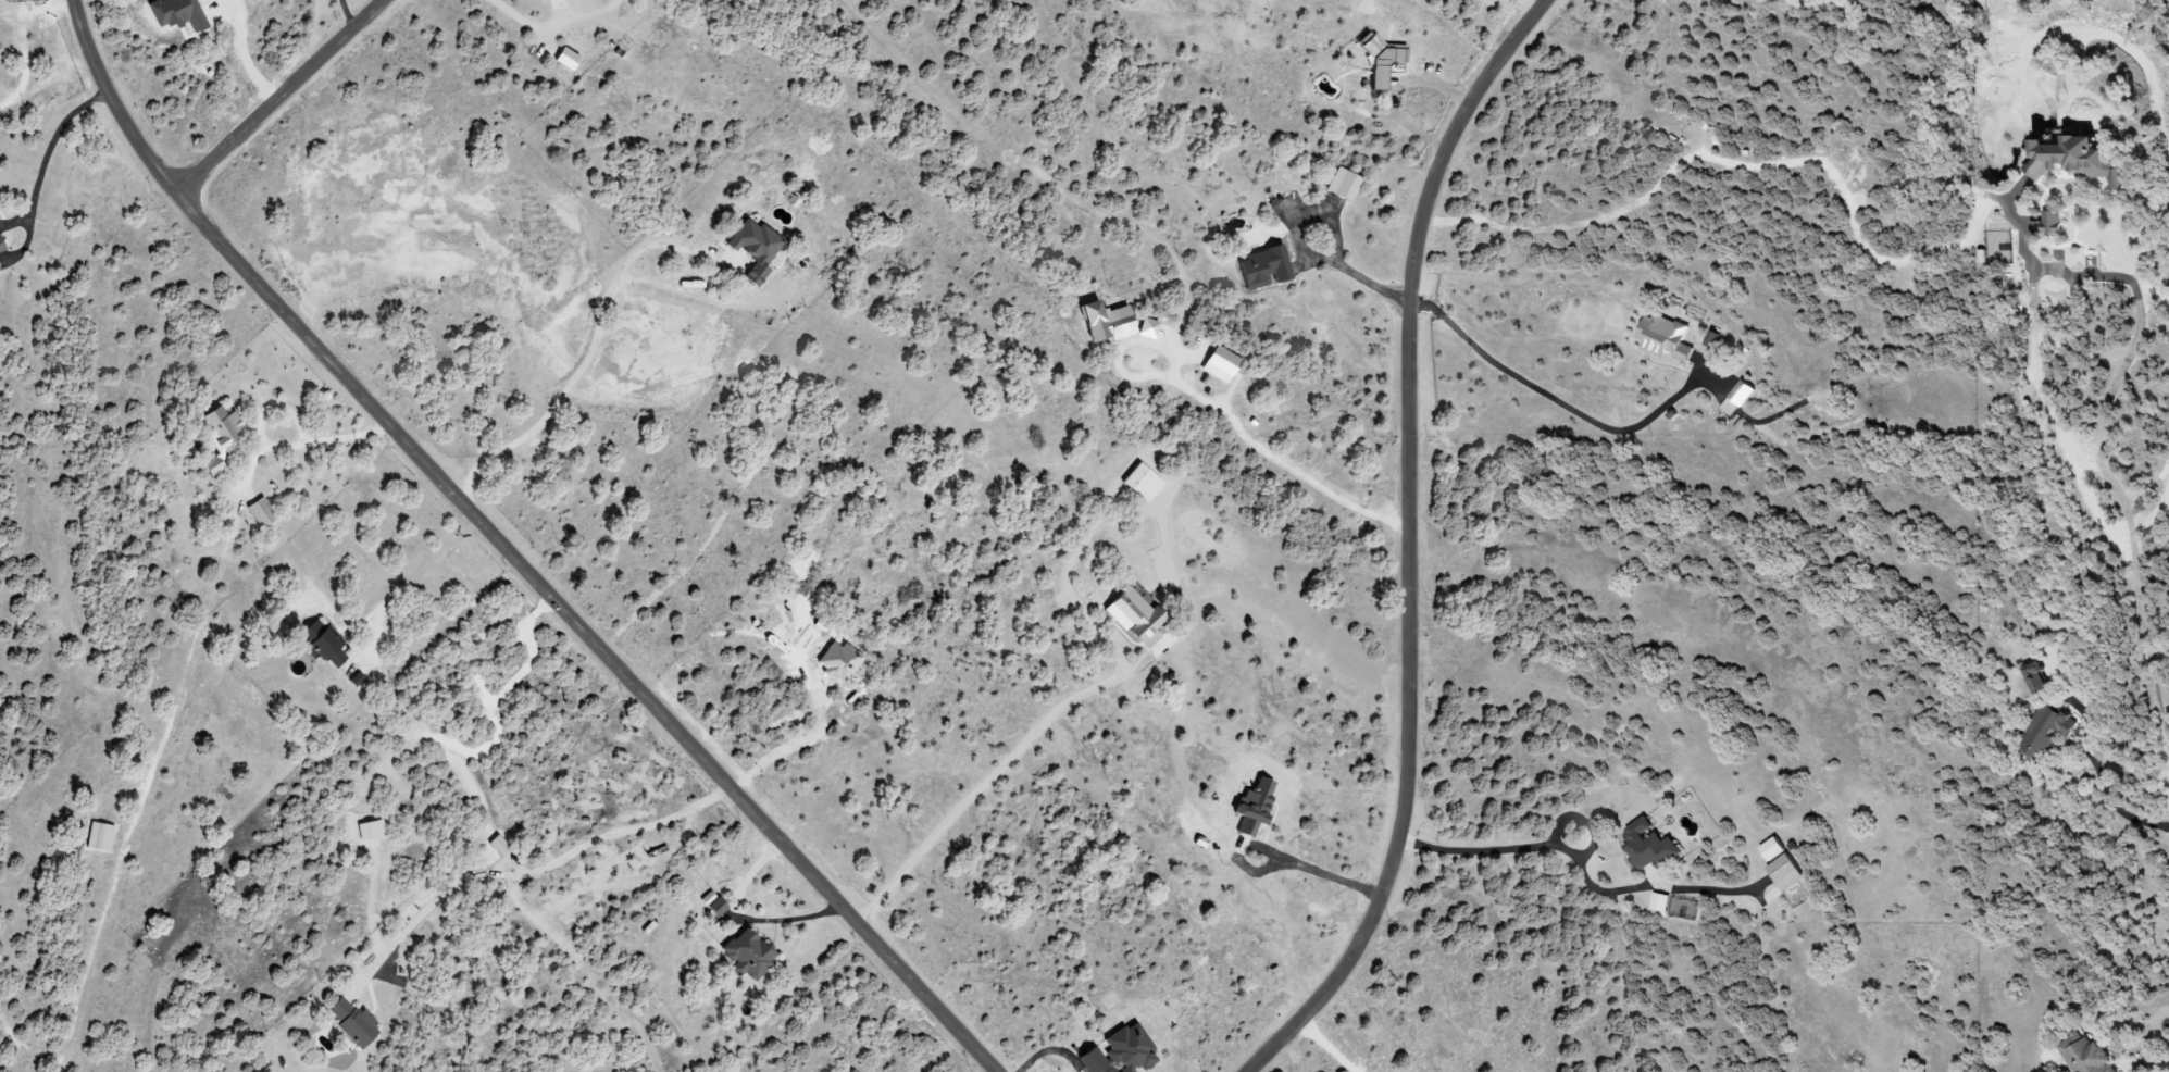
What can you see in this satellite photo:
road: (345, 15)
road: (526, 24)
road: (24, 41)
building: (1378, 59)
road: (279, 98)
road: (1710, 153)
road: (47, 157)
building: (2075, 161)
building: (1338, 185)
road: (1331, 221)
building: (2049, 221)
building: (0, 248)
building: (751, 248)
building: (1261, 269)
building: (1102, 322)
building: (1145, 328)
building: (1661, 338)
building: (1710, 340)
building: (1217, 363)
road: (582, 367)
road: (1555, 394)
building: (1735, 399)
building: (219, 427)
road: (1309, 474)
road: (2086, 481)
building: (1138, 483)
building: (259, 513)
road: (1417, 543)
road: (504, 553)
road: (426, 559)
building: (1130, 614)
building: (1148, 639)
building: (319, 644)
building: (2033, 677)
building: (353, 680)
building: (2045, 732)
road: (1000, 768)
building: (1250, 808)
building: (369, 831)
building: (97, 837)
road: (1540, 843)
building: (496, 846)
building: (1645, 846)
road: (536, 867)
road: (1319, 867)
building: (1783, 873)
building: (710, 903)
road: (741, 918)
building: (746, 953)
building: (349, 1022)
building: (1127, 1049)
building: (2083, 1055)
building: (1092, 1059)

